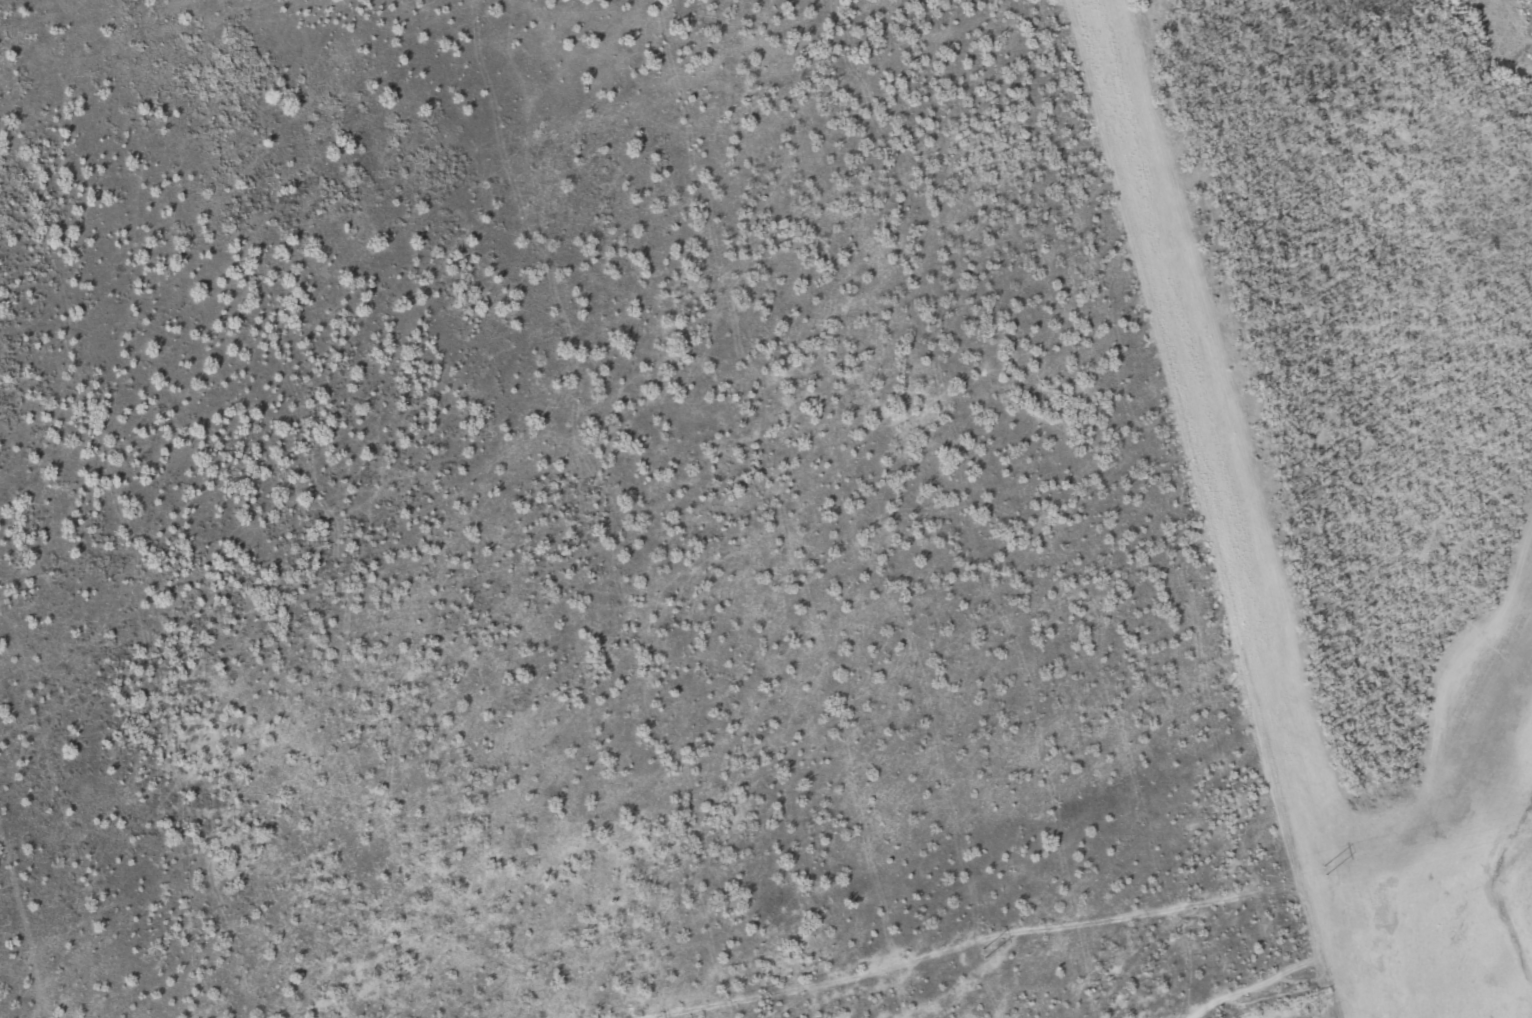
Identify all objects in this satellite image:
power tower: (1316, 871)
power tower: (980, 953)

